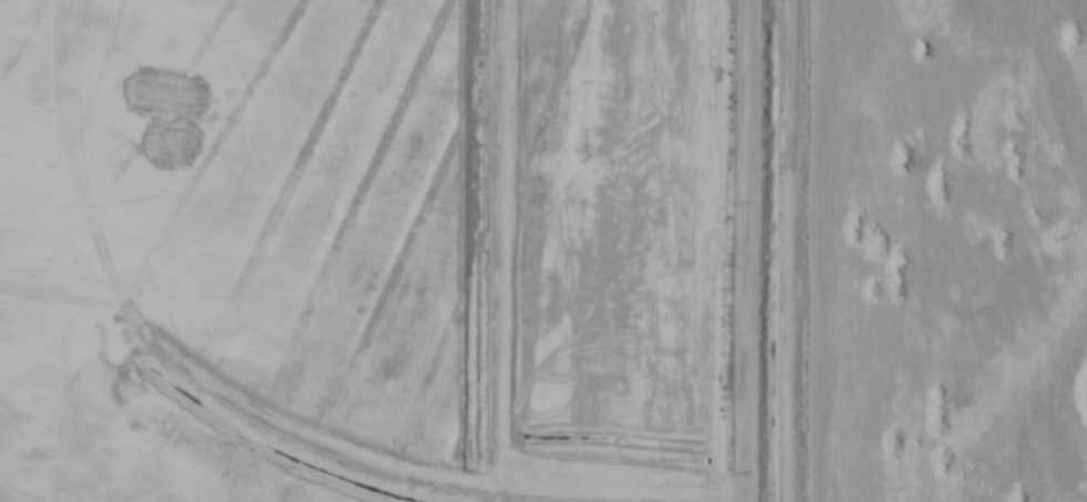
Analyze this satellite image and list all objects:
road: (727, 250)

